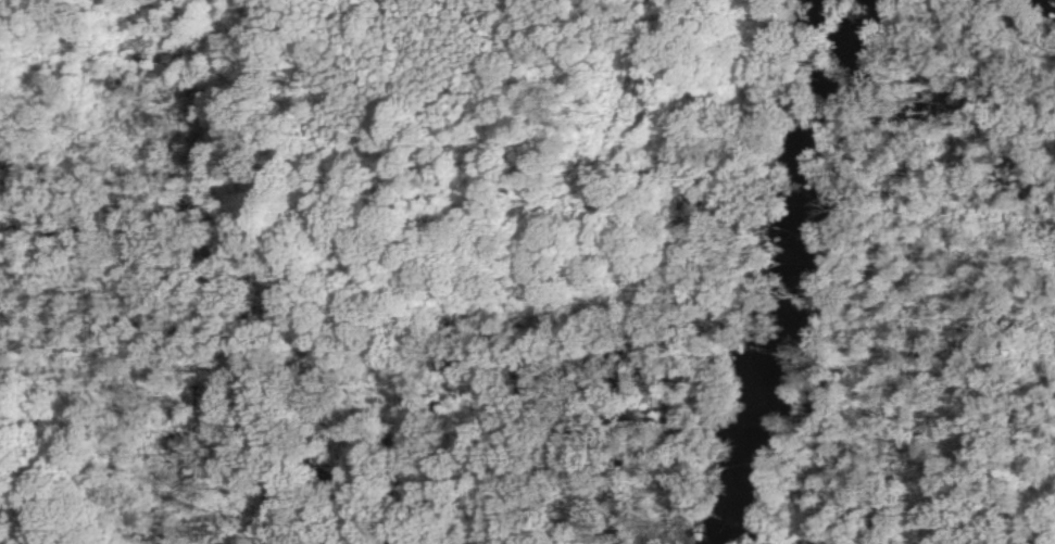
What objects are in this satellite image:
river: (799, 266)

